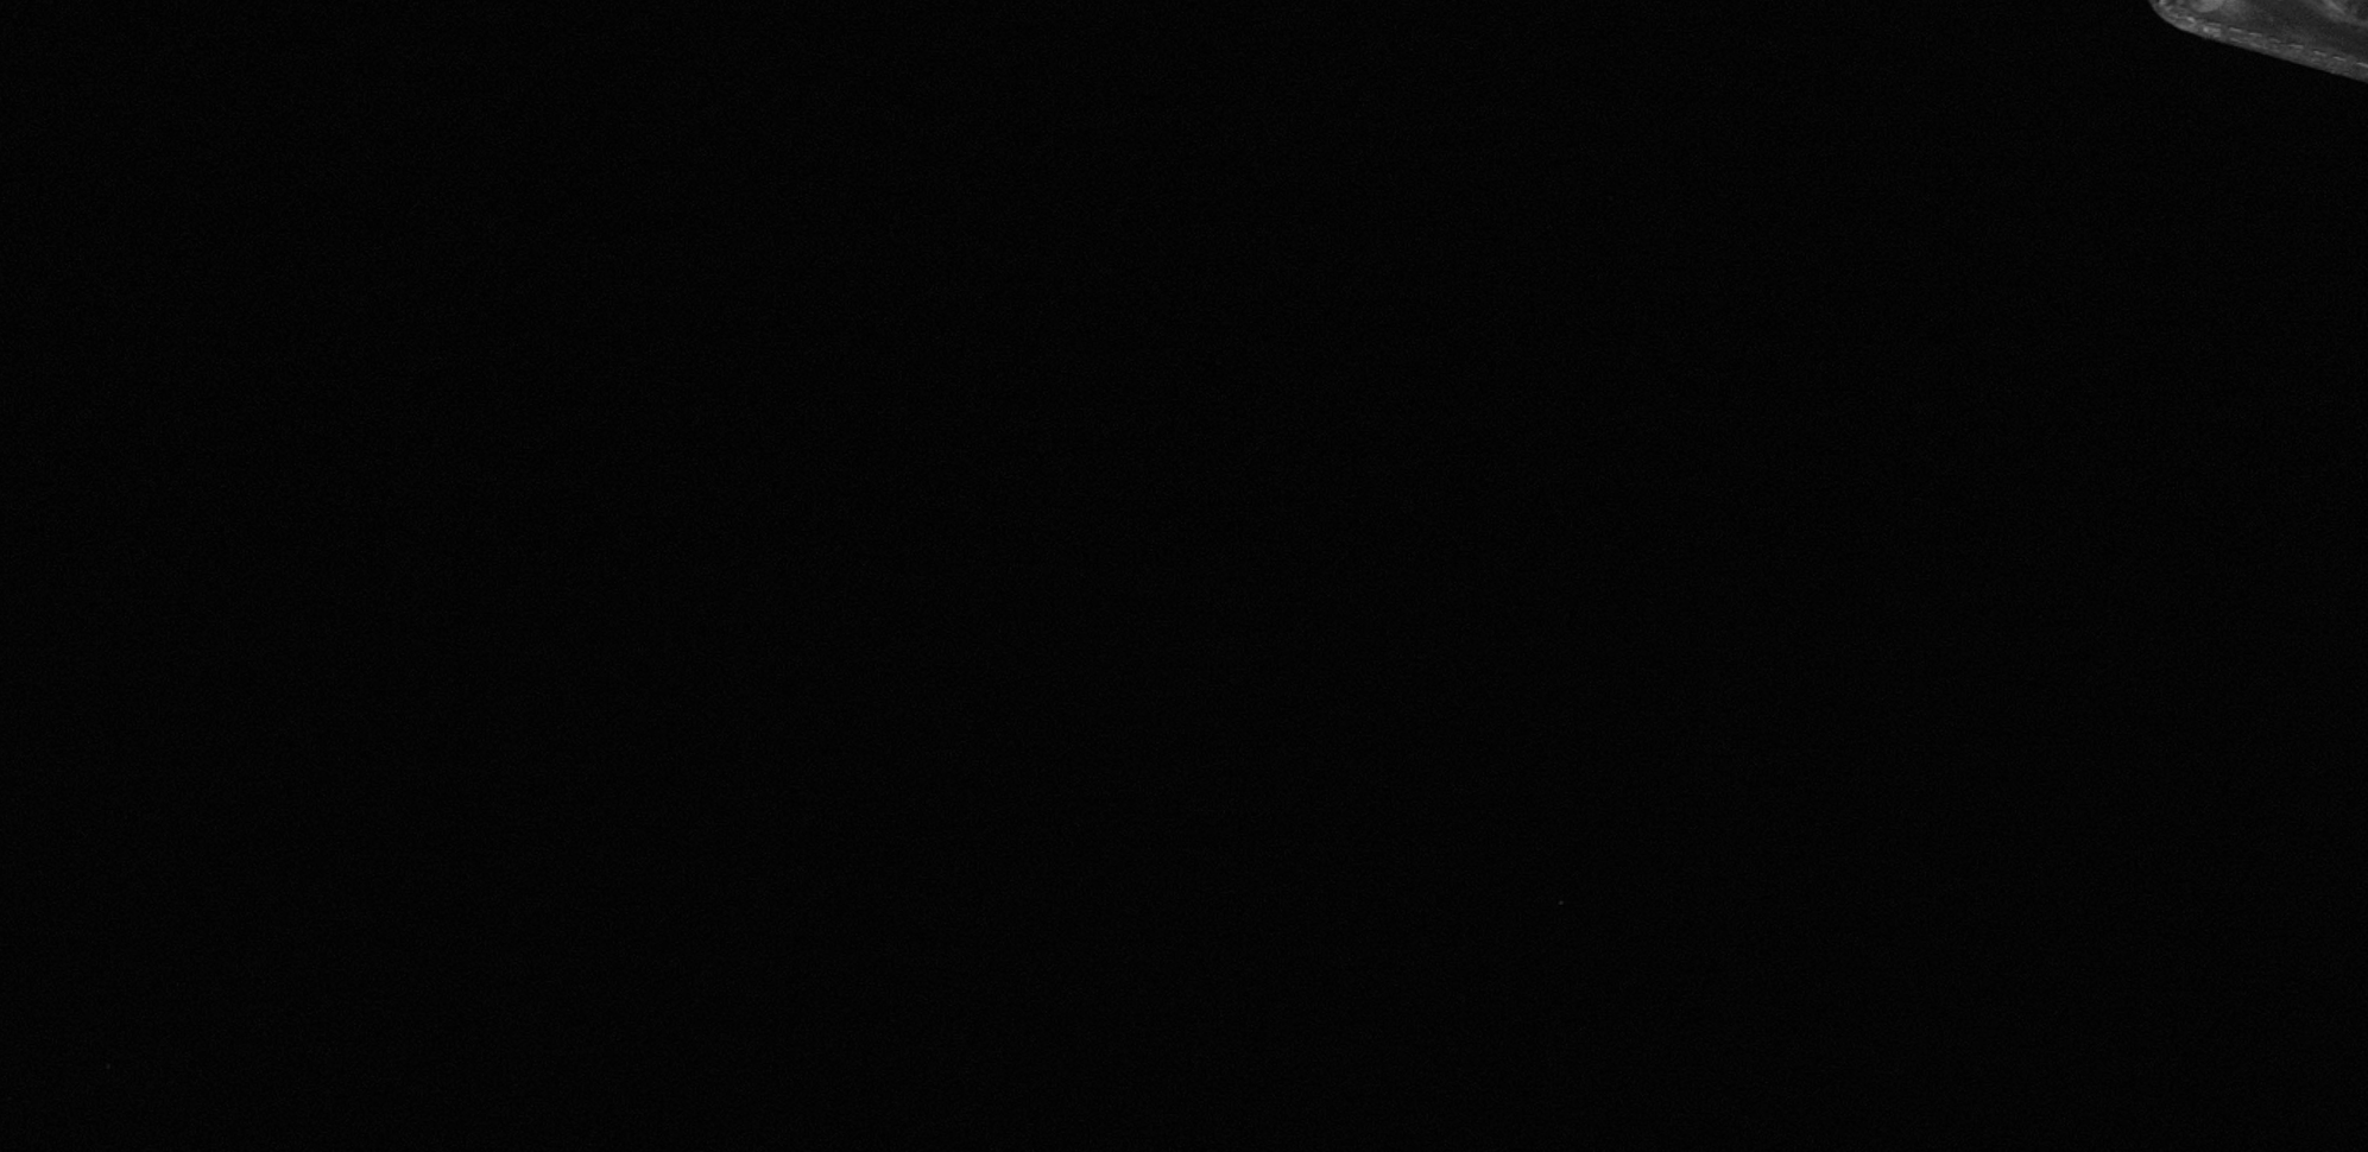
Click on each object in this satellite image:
quarry: (2280, 32)

